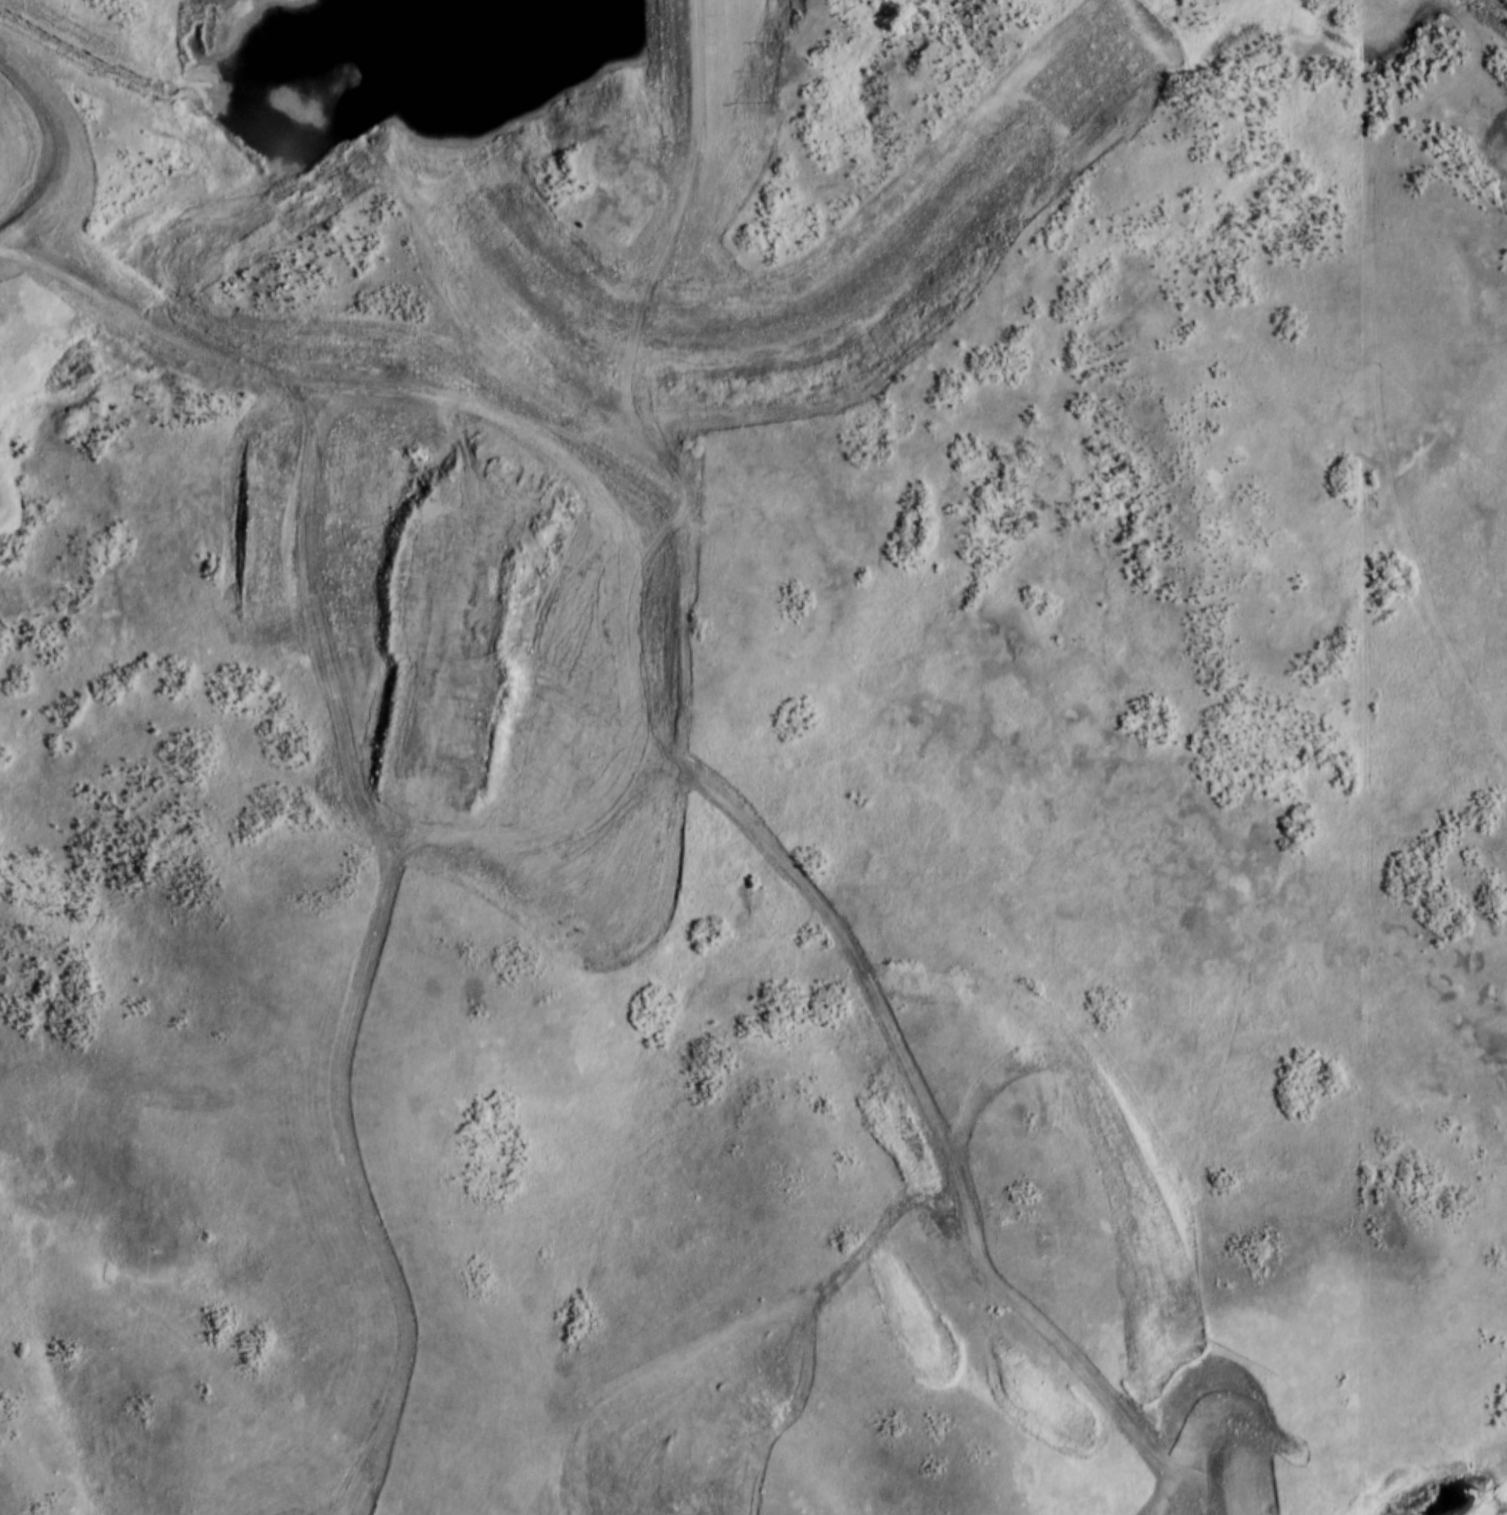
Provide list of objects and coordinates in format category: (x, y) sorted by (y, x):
road: (1381, 353)

